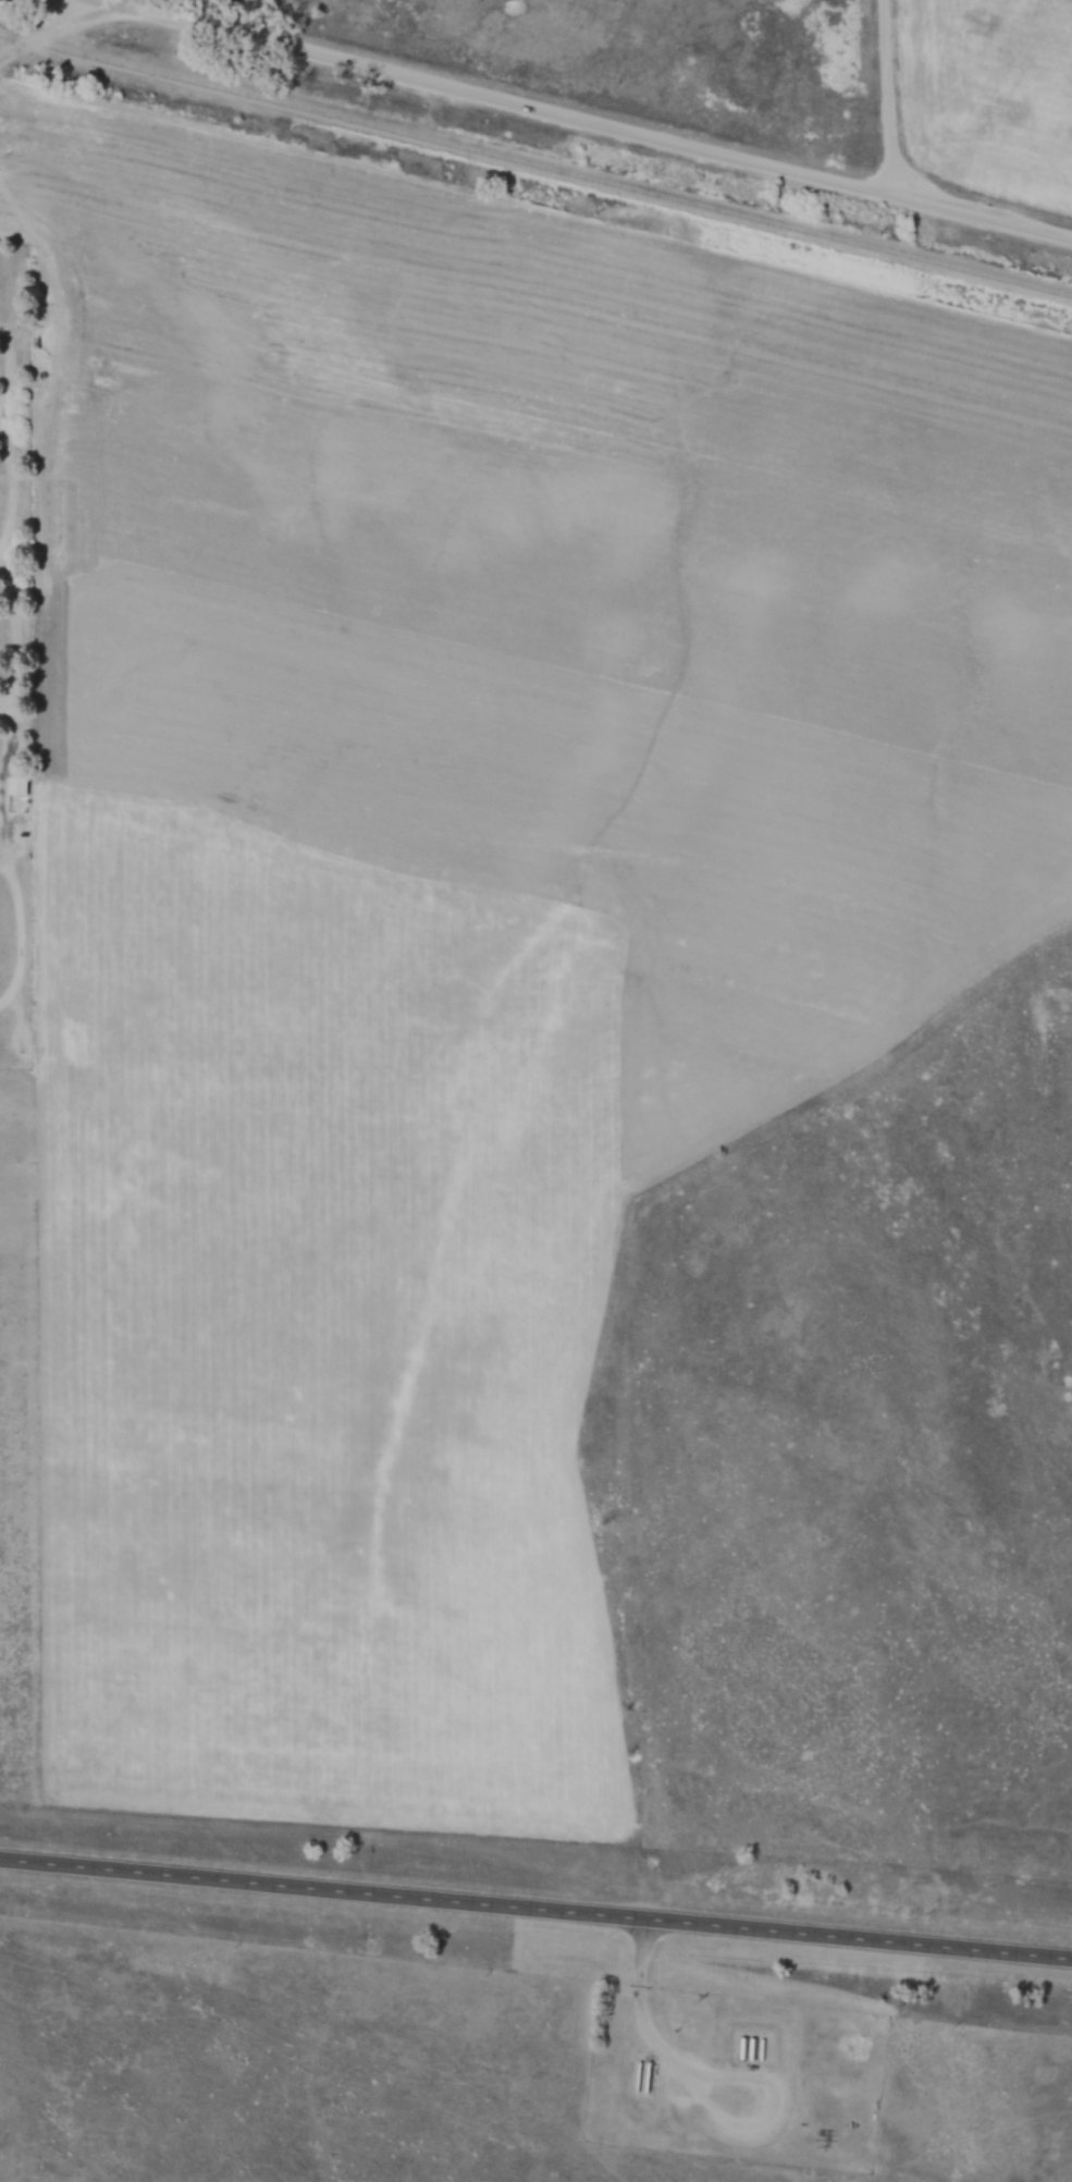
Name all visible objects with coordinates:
road: (42, 33)
road: (889, 99)
road: (584, 122)
railway: (535, 163)
road: (9, 365)
road: (10, 478)
road: (14, 637)
road: (1, 776)
building: (16, 784)
crop: (447, 906)
road: (20, 932)
road: (535, 1913)
road: (651, 2034)

